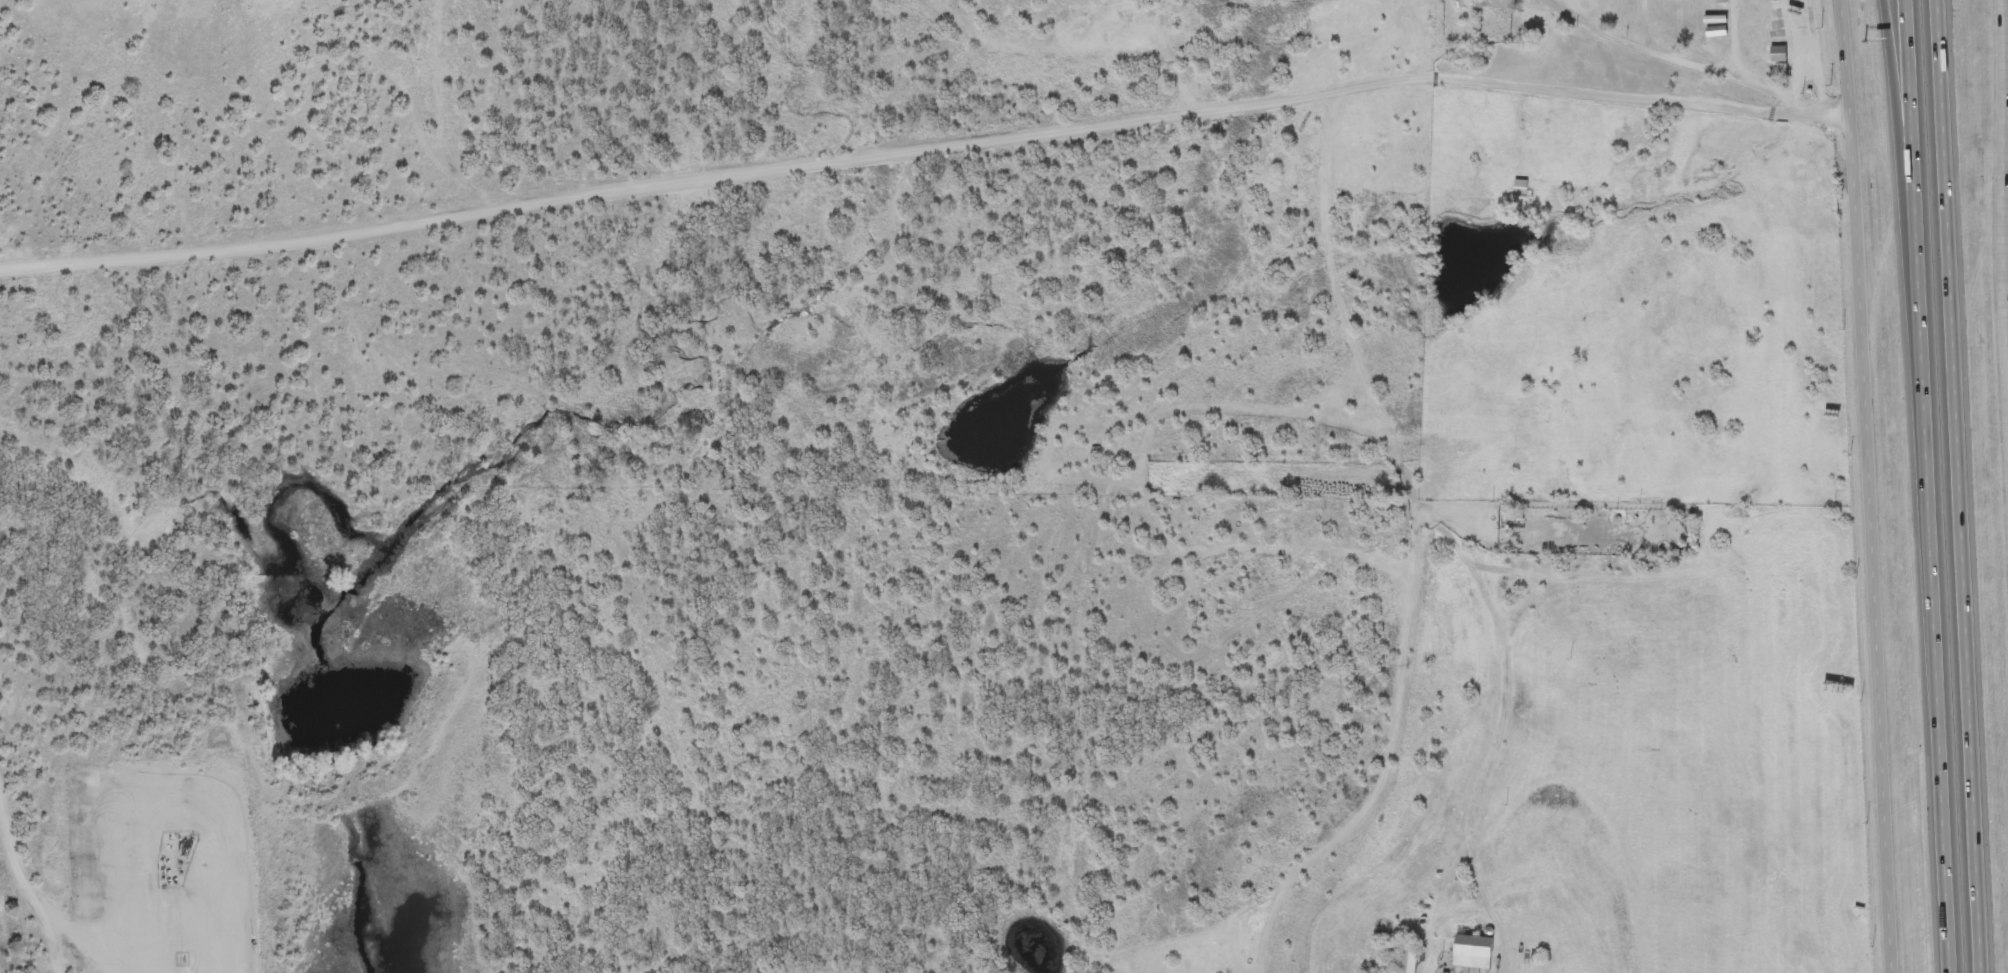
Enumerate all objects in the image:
building: (1506, 5)
road: (1811, 63)
road: (1693, 64)
road: (2006, 134)
road: (1901, 140)
road: (2007, 146)
road: (924, 151)
road: (1870, 486)
road: (1927, 486)
road: (1959, 486)
building: (1928, 515)
building: (1936, 847)
road: (21, 875)
road: (1436, 902)
road: (56, 952)
road: (150, 952)
building: (1475, 954)
building: (1410, 961)

